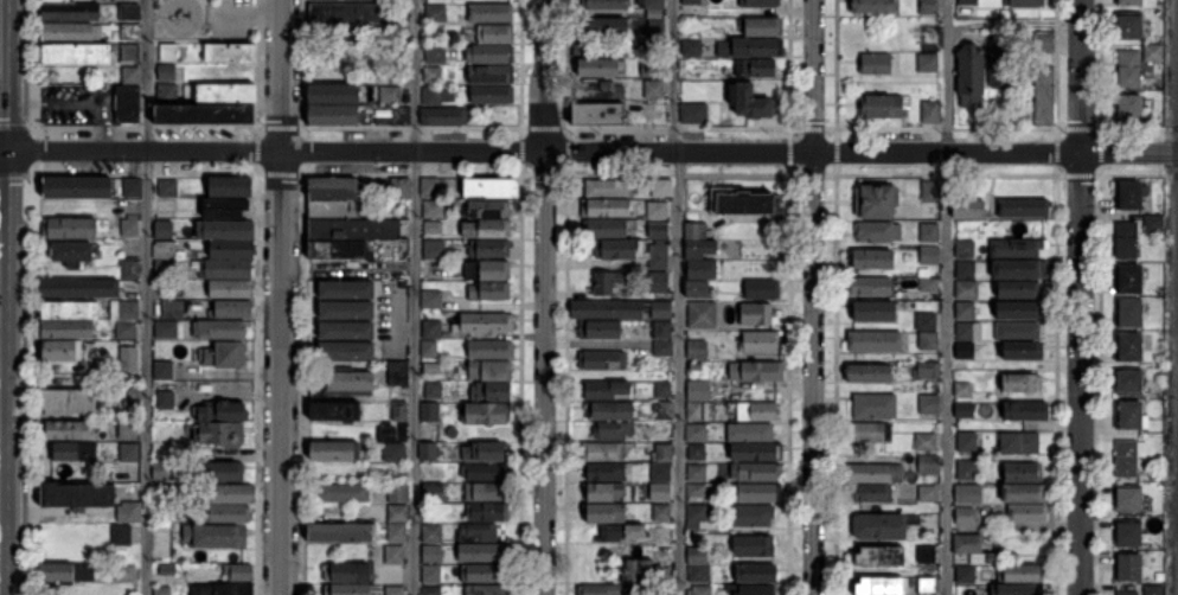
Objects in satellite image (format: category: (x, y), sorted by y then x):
building: (57, 0)
building: (83, 0)
building: (691, 1)
building: (966, 1)
building: (757, 2)
building: (1023, 2)
building: (1127, 2)
building: (602, 4)
building: (653, 4)
building: (873, 5)
building: (928, 6)
building: (715, 8)
building: (69, 11)
building: (128, 11)
building: (434, 11)
building: (347, 13)
building: (488, 13)
building: (600, 26)
building: (761, 26)
building: (654, 27)
building: (1127, 27)
building: (69, 31)
building: (129, 31)
building: (434, 31)
building: (494, 33)
building: (725, 33)
building: (1043, 39)
building: (691, 47)
building: (749, 47)
building: (581, 49)
building: (167, 52)
building: (230, 52)
building: (1152, 52)
building: (75, 53)
building: (129, 53)
building: (433, 53)
building: (487, 53)
building: (999, 59)
building: (927, 62)
building: (690, 63)
building: (873, 64)
building: (596, 68)
building: (653, 68)
building: (755, 68)
building: (1128, 69)
building: (166, 72)
building: (431, 73)
building: (489, 73)
building: (129, 75)
building: (971, 76)
building: (653, 89)
building: (597, 90)
building: (332, 92)
building: (166, 94)
building: (218, 94)
building: (491, 94)
building: (389, 95)
building: (434, 96)
building: (1043, 96)
parking lot: (72, 101)
building: (750, 102)
building: (126, 103)
building: (883, 105)
building: (1128, 108)
building: (930, 111)
building: (693, 113)
building: (203, 114)
building: (596, 114)
building: (332, 115)
building: (442, 116)
building: (395, 117)
road: (539, 149)
road: (1128, 151)
building: (77, 186)
building: (169, 186)
building: (429, 186)
building: (659, 186)
building: (133, 187)
building: (230, 187)
building: (332, 187)
building: (401, 187)
building: (492, 187)
building: (606, 187)
building: (931, 191)
building: (1129, 194)
building: (875, 200)
building: (742, 201)
building: (335, 207)
building: (433, 207)
building: (488, 207)
building: (604, 207)
building: (1023, 207)
building: (224, 209)
building: (658, 209)
building: (969, 209)
building: (1153, 223)
building: (130, 225)
building: (433, 226)
building: (487, 228)
building: (606, 228)
building: (70, 229)
building: (225, 229)
building: (358, 229)
building: (658, 229)
building: (162, 230)
building: (696, 230)
building: (876, 231)
building: (929, 232)
building: (1125, 239)
building: (488, 248)
building: (699, 248)
building: (965, 248)
building: (165, 249)
building: (231, 249)
building: (434, 249)
building: (619, 249)
building: (1014, 249)
building: (339, 250)
building: (72, 254)
building: (658, 255)
building: (929, 255)
building: (871, 258)
building: (130, 267)
building: (164, 267)
building: (433, 267)
building: (225, 268)
building: (1018, 268)
building: (700, 269)
building: (486, 270)
building: (965, 270)
building: (1127, 279)
building: (658, 281)
building: (606, 282)
building: (928, 284)
building: (869, 286)
building: (79, 288)
building: (965, 288)
building: (230, 289)
building: (697, 289)
building: (762, 289)
building: (1018, 289)
building: (350, 290)
building: (489, 290)
building: (172, 292)
road: (9, 297)
road: (146, 297)
road: (282, 297)
road: (412, 297)
road: (545, 297)
road: (677, 297)
road: (814, 297)
road: (948, 297)
road: (1080, 297)
building: (431, 300)
building: (173, 308)
building: (69, 309)
building: (129, 309)
building: (231, 309)
building: (606, 309)
building: (662, 309)
building: (965, 309)
building: (1017, 309)
building: (350, 311)
building: (873, 311)
building: (703, 314)
building: (757, 314)
building: (1128, 314)
parking lot: (392, 315)
building: (926, 321)
building: (484, 322)
building: (65, 328)
building: (661, 328)
building: (127, 330)
building: (167, 330)
building: (219, 330)
building: (431, 330)
building: (598, 330)
building: (350, 331)
building: (965, 331)
building: (1017, 331)
building: (873, 340)
building: (928, 340)
building: (758, 341)
building: (428, 347)
building: (662, 347)
building: (1128, 347)
building: (489, 348)
building: (62, 350)
building: (696, 350)
building: (965, 350)
building: (1023, 350)
building: (348, 351)
building: (225, 356)
building: (128, 357)
building: (918, 357)
building: (601, 359)
building: (696, 366)
building: (431, 367)
building: (489, 370)
building: (927, 370)
building: (162, 371)
building: (756, 371)
building: (398, 372)
building: (868, 372)
building: (350, 382)
building: (1022, 382)
building: (1128, 382)
parking lot: (215, 389)
building: (662, 389)
building: (961, 389)
building: (433, 390)
building: (606, 390)
building: (697, 390)
building: (491, 391)
building: (166, 396)
building: (68, 401)
building: (927, 403)
building: (872, 407)
building: (130, 409)
building: (399, 410)
building: (609, 410)
building: (662, 410)
building: (696, 410)
building: (962, 410)
building: (334, 411)
building: (430, 411)
building: (755, 411)
building: (1027, 411)
building: (220, 412)
building: (484, 412)
building: (1129, 416)
building: (68, 429)
building: (128, 430)
building: (614, 430)
building: (866, 430)
building: (389, 431)
building: (664, 431)
building: (697, 431)
building: (220, 433)
building: (749, 433)
building: (926, 441)
building: (967, 441)
building: (1019, 442)
building: (73, 450)
building: (334, 450)
building: (603, 450)
building: (129, 452)
building: (393, 452)
building: (429, 452)
building: (485, 452)
building: (697, 452)
building: (756, 452)
building: (662, 453)
building: (1128, 458)
building: (928, 463)
building: (967, 469)
building: (100, 471)
building: (165, 472)
building: (219, 472)
building: (486, 472)
building: (603, 472)
building: (755, 472)
building: (337, 473)
building: (398, 473)
building: (434, 473)
building: (661, 473)
building: (697, 473)
building: (875, 473)
building: (1022, 473)
building: (1157, 476)
building: (397, 492)
building: (434, 492)
building: (487, 492)
building: (603, 492)
building: (660, 492)
building: (697, 492)
building: (756, 492)
building: (967, 492)
building: (346, 493)
building: (869, 493)
building: (927, 493)
building: (1024, 493)
building: (229, 494)
building: (76, 497)
building: (1128, 498)
building: (129, 512)
building: (488, 512)
building: (699, 512)
building: (397, 513)
building: (604, 513)
building: (661, 513)
building: (1027, 513)
building: (225, 514)
building: (965, 516)
building: (751, 517)
building: (882, 526)
building: (68, 532)
building: (340, 532)
building: (397, 532)
building: (476, 532)
building: (621, 533)
building: (1128, 533)
building: (122, 535)
building: (433, 535)
building: (217, 536)
building: (967, 544)
building: (753, 545)
building: (482, 552)
building: (665, 552)
building: (431, 554)
building: (393, 555)
building: (698, 555)
building: (927, 555)
building: (881, 557)
building: (1128, 567)
building: (168, 569)
building: (238, 571)
building: (636, 571)
building: (68, 572)
building: (348, 572)
building: (699, 572)
building: (126, 574)
building: (433, 574)
building: (484, 574)
building: (757, 574)
building: (1023, 574)
building: (966, 575)
building: (670, 577)
building: (927, 584)
building: (881, 586)
building: (162, 589)
building: (219, 589)
building: (351, 589)
building: (487, 589)
building: (598, 589)
building: (750, 589)
building: (1154, 589)
building: (396, 590)
building: (433, 590)
building: (703, 590)
building: (1017, 590)
building: (1127, 593)

